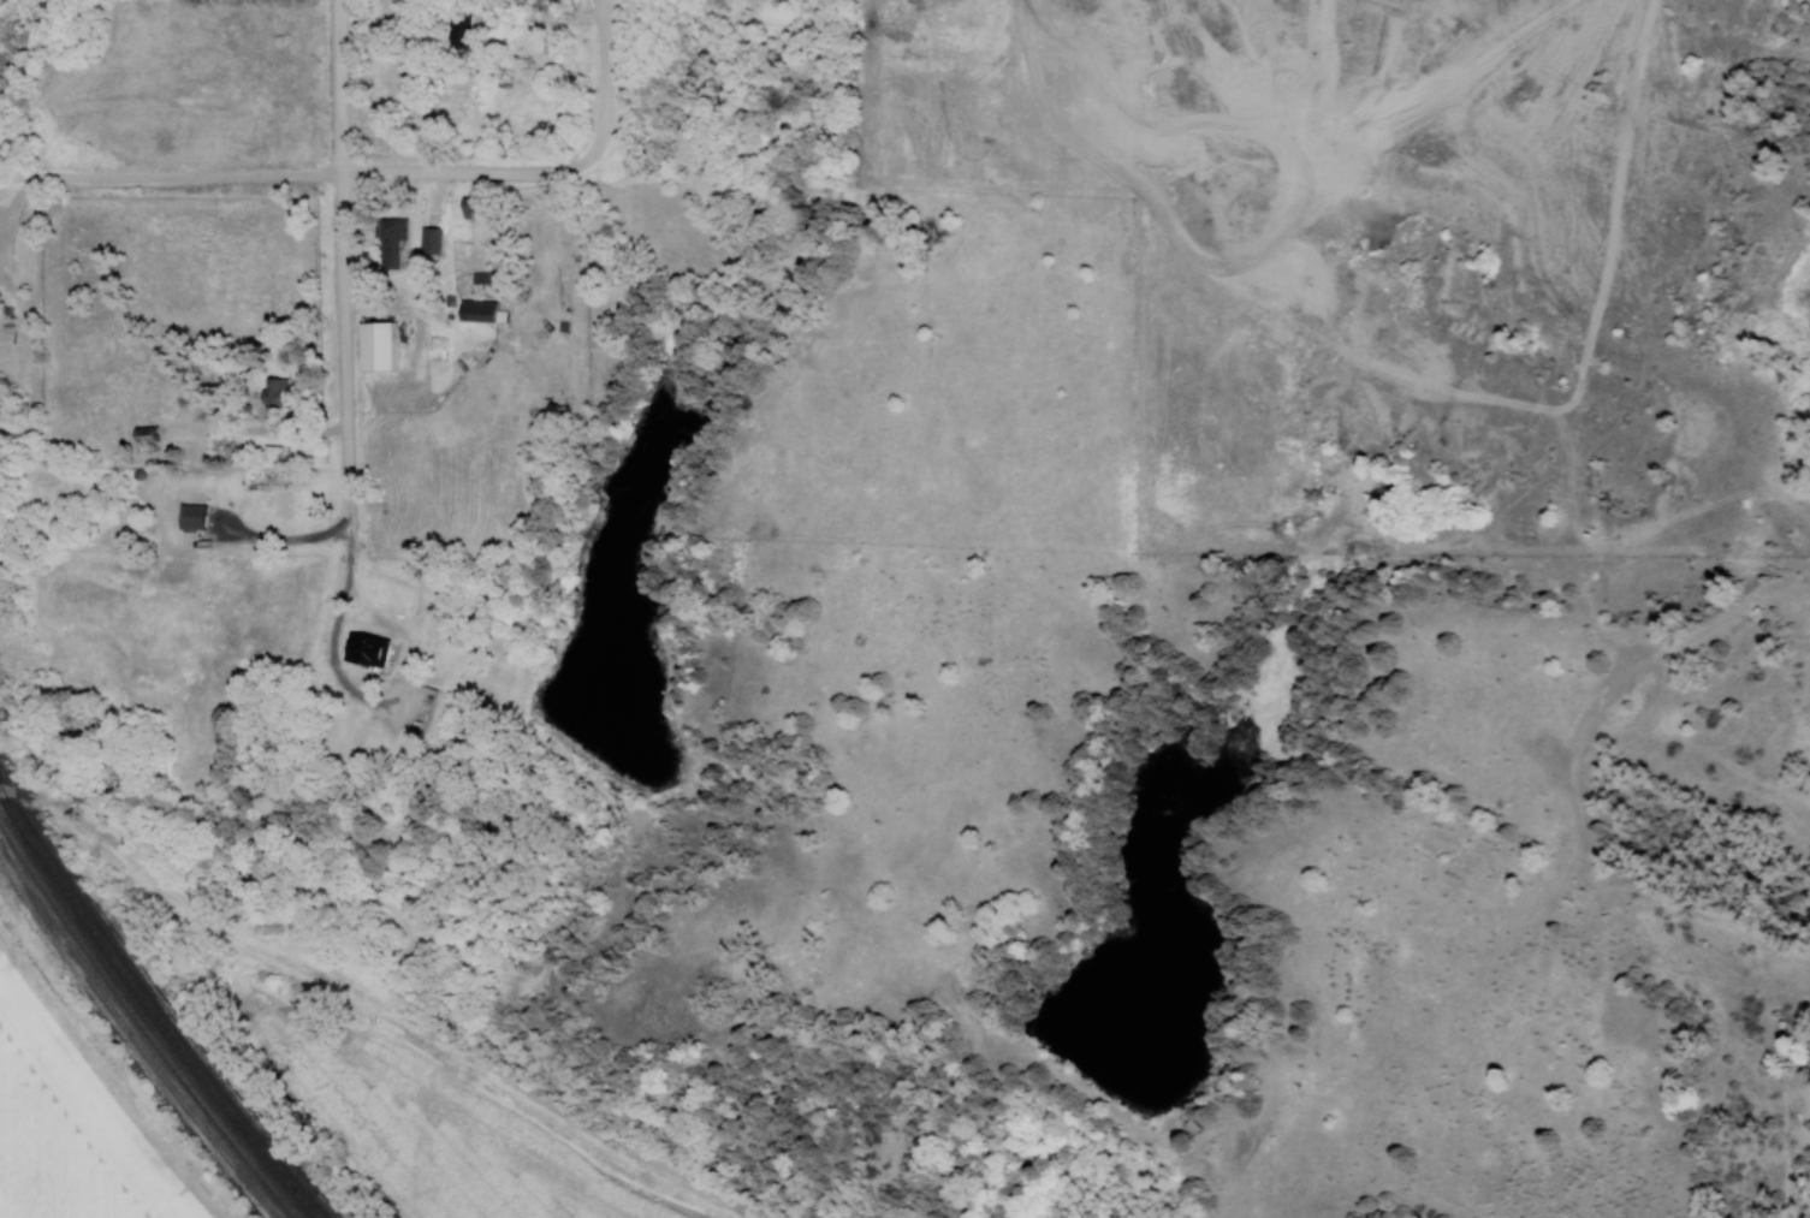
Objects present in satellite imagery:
building: (457, 31)
road: (601, 49)
road: (324, 170)
building: (469, 207)
building: (429, 240)
building: (390, 242)
road: (344, 295)
building: (479, 311)
building: (375, 340)
building: (274, 393)
building: (143, 434)
building: (271, 501)
building: (190, 517)
building: (366, 649)
railway: (150, 1011)
railway: (144, 1024)
building: (1192, 1128)

